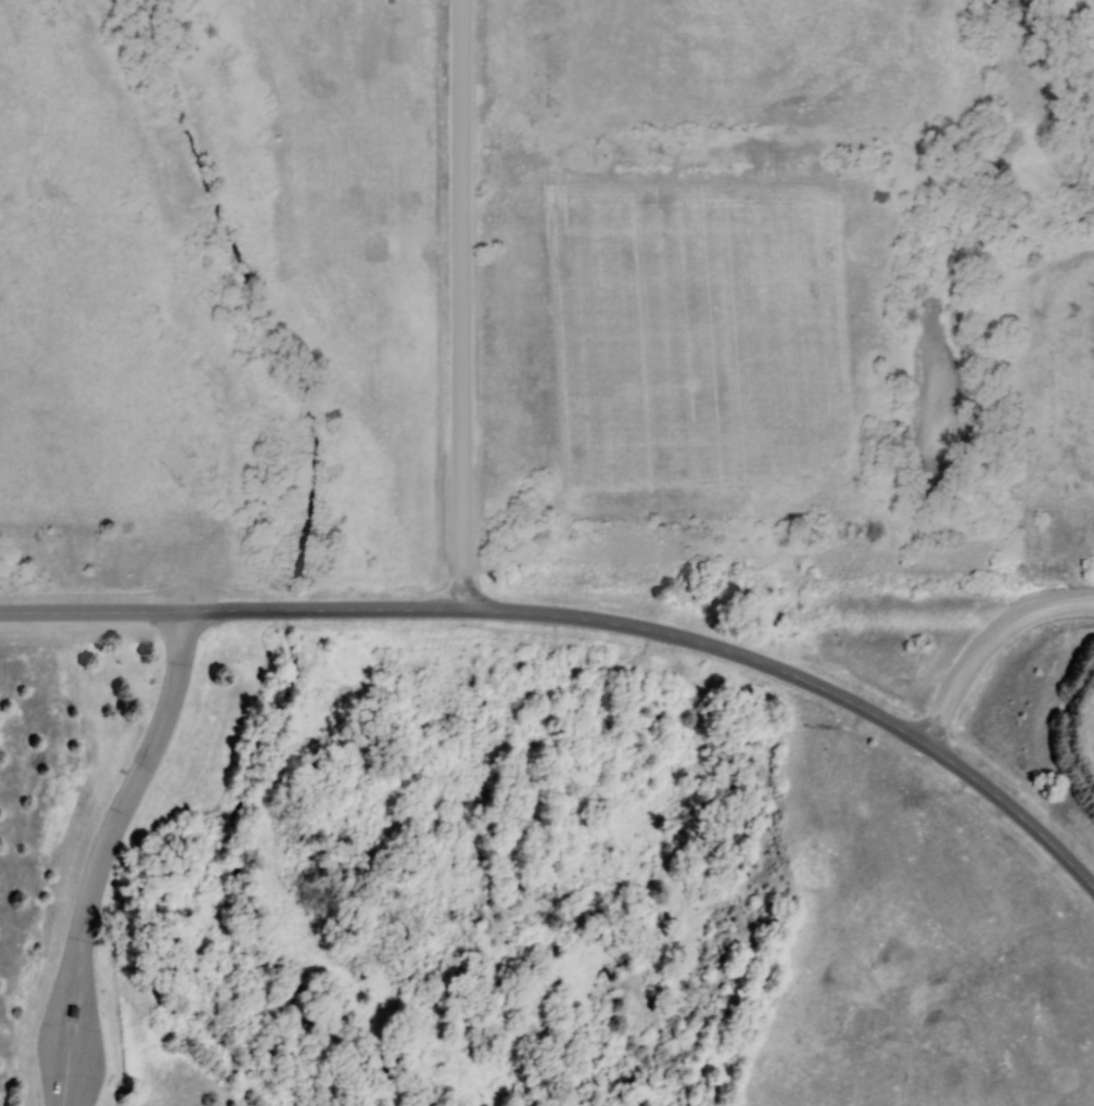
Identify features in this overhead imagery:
road: (461, 304)
road: (231, 611)
road: (985, 640)
road: (700, 643)
road: (143, 755)
road: (1012, 809)
park: (232, 859)
road: (56, 999)
road: (84, 1001)
toll booth: (53, 1015)

